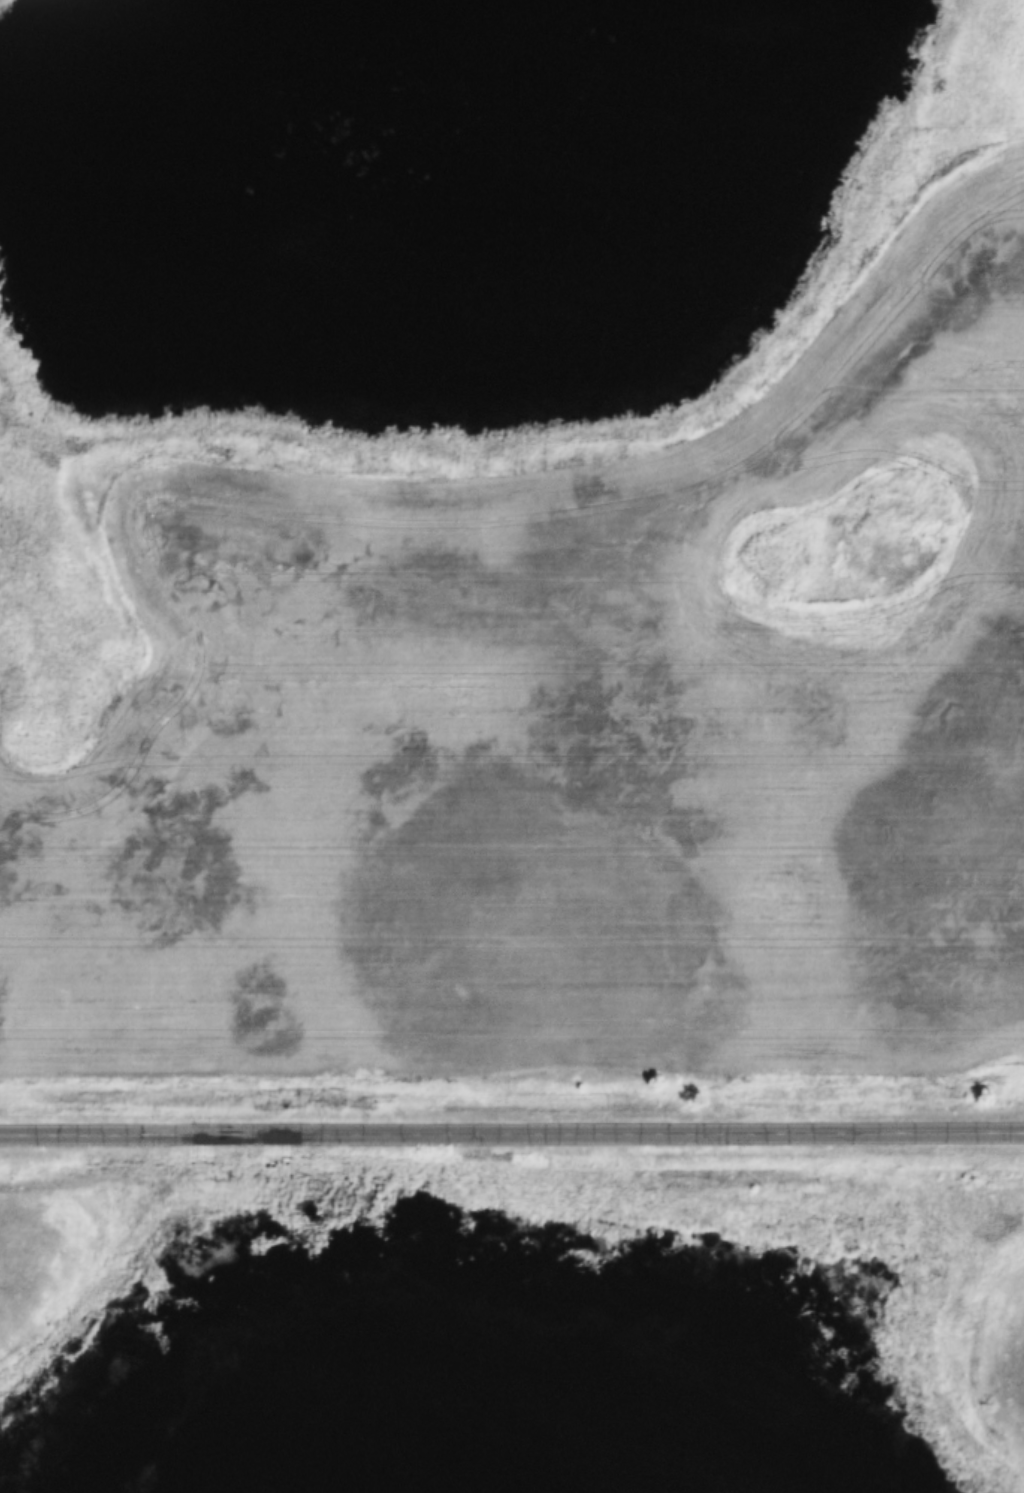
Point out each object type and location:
road: (512, 1130)

